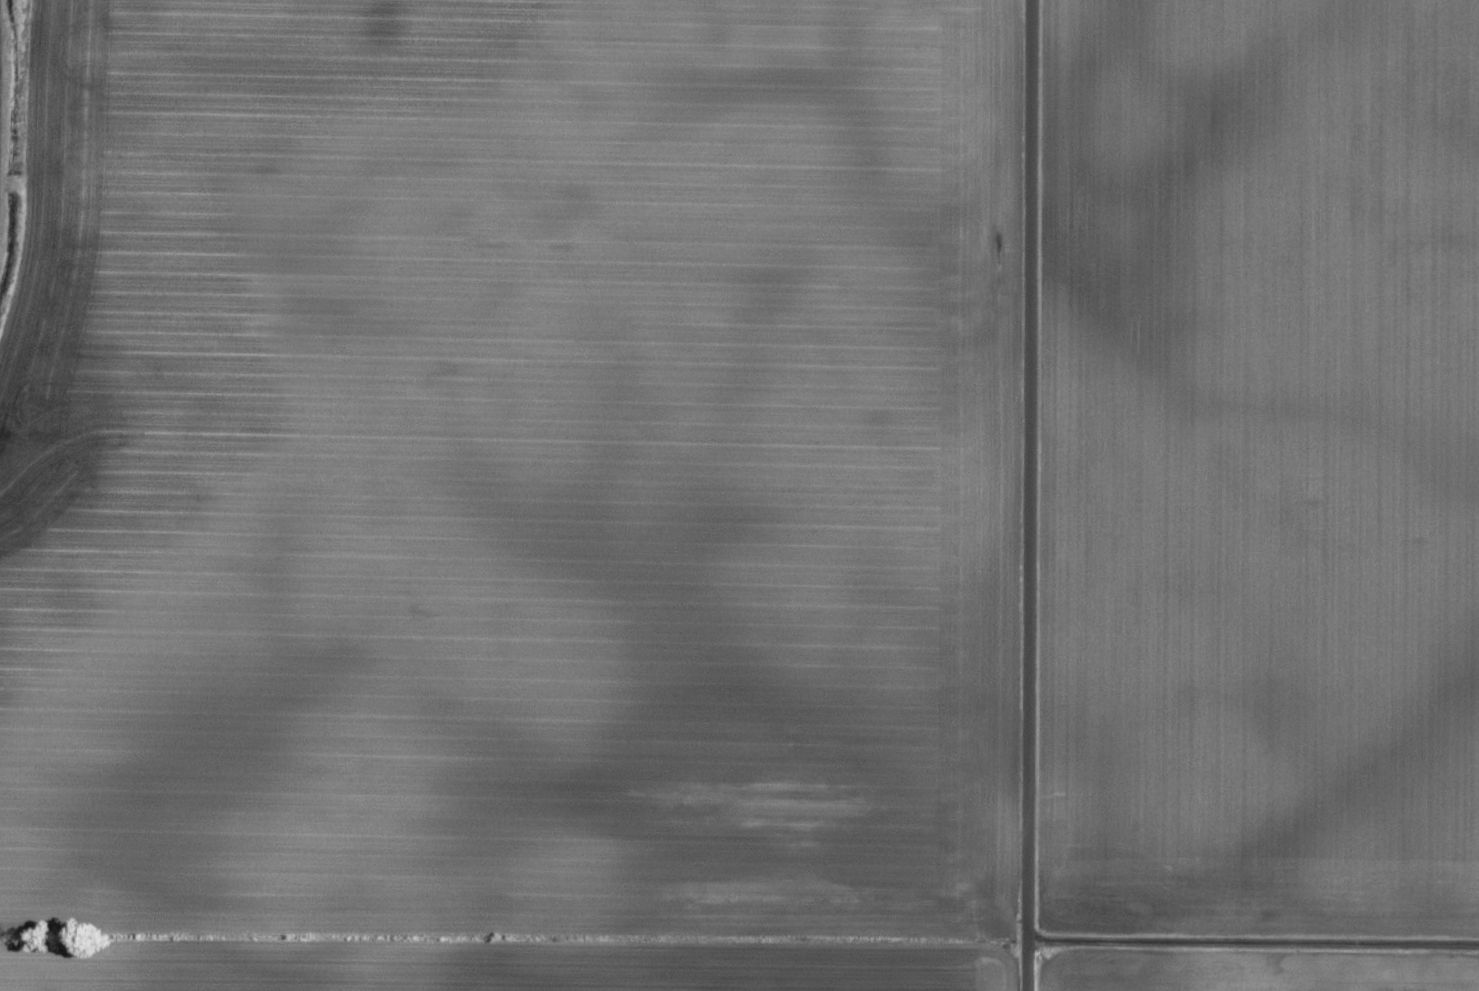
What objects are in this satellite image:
road: (1031, 495)
road: (1254, 940)

